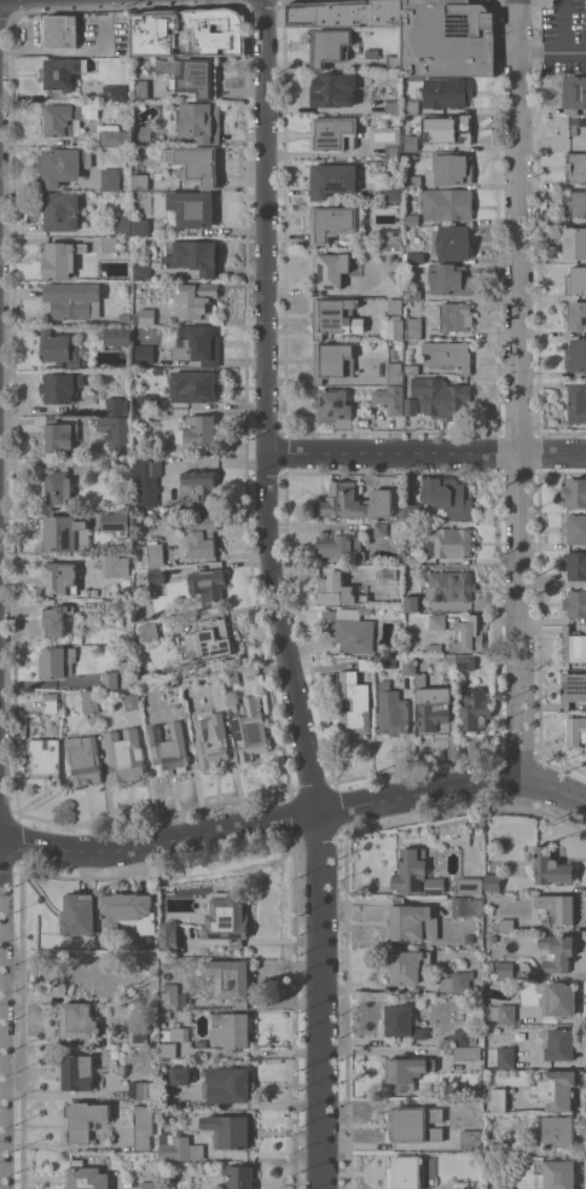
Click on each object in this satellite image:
building: (346, 13)
building: (60, 30)
building: (198, 33)
road: (31, 34)
parking lot: (563, 36)
building: (448, 37)
building: (145, 45)
building: (329, 46)
road: (69, 51)
road: (551, 53)
building: (394, 63)
building: (63, 72)
building: (191, 75)
building: (140, 89)
building: (333, 89)
building: (114, 92)
building: (447, 92)
building: (574, 92)
building: (410, 104)
building: (394, 108)
building: (68, 118)
building: (198, 121)
building: (574, 121)
building: (449, 129)
building: (333, 133)
building: (115, 138)
building: (411, 143)
building: (394, 147)
building: (197, 163)
building: (63, 164)
building: (575, 167)
building: (452, 168)
building: (110, 179)
building: (140, 180)
building: (332, 180)
building: (412, 180)
building: (394, 192)
building: (574, 202)
building: (447, 204)
building: (192, 208)
building: (62, 211)
building: (412, 219)
building: (331, 222)
building: (122, 226)
building: (141, 227)
building: (393, 238)
building: (454, 243)
building: (575, 243)
building: (110, 244)
building: (196, 256)
building: (414, 257)
building: (60, 259)
building: (141, 271)
building: (330, 271)
building: (449, 279)
building: (575, 280)
building: (395, 284)
building: (413, 294)
building: (74, 300)
building: (196, 300)
building: (395, 306)
building: (578, 314)
building: (144, 317)
building: (335, 317)
building: (456, 317)
building: (126, 318)
building: (395, 327)
building: (412, 327)
building: (117, 336)
building: (198, 344)
building: (59, 348)
building: (144, 354)
building: (449, 355)
building: (576, 355)
building: (110, 356)
building: (332, 361)
building: (411, 369)
building: (395, 372)
building: (62, 387)
building: (195, 387)
road: (518, 388)
building: (441, 396)
building: (139, 400)
building: (150, 400)
building: (394, 400)
building: (576, 402)
building: (116, 406)
building: (335, 406)
building: (411, 406)
road: (265, 408)
building: (149, 414)
building: (197, 429)
building: (117, 431)
building: (59, 434)
road: (425, 452)
building: (110, 468)
building: (146, 482)
building: (58, 488)
building: (197, 489)
building: (575, 492)
building: (448, 498)
building: (354, 501)
building: (163, 509)
building: (137, 511)
building: (117, 522)
building: (575, 528)
building: (381, 529)
building: (66, 533)
building: (202, 535)
building: (453, 543)
building: (340, 547)
building: (155, 555)
building: (413, 559)
building: (575, 564)
building: (111, 565)
building: (387, 572)
building: (59, 576)
building: (157, 576)
building: (208, 584)
building: (452, 586)
building: (337, 591)
building: (412, 603)
building: (575, 603)
building: (110, 607)
building: (56, 619)
building: (437, 621)
building: (349, 628)
building: (149, 632)
building: (468, 636)
building: (211, 640)
building: (573, 645)
building: (434, 648)
building: (466, 660)
building: (58, 661)
building: (366, 663)
building: (408, 663)
building: (126, 667)
building: (449, 667)
building: (231, 675)
building: (110, 679)
building: (573, 689)
building: (89, 700)
building: (132, 701)
building: (52, 702)
building: (355, 703)
building: (431, 704)
building: (475, 708)
building: (391, 710)
building: (250, 730)
building: (576, 731)
building: (211, 739)
building: (168, 749)
building: (127, 755)
building: (83, 760)
building: (45, 761)
road: (295, 817)
building: (509, 860)
building: (551, 866)
building: (416, 874)
building: (492, 882)
building: (468, 884)
building: (468, 906)
building: (559, 906)
building: (129, 910)
building: (79, 913)
building: (227, 918)
building: (412, 922)
building: (505, 924)
building: (169, 935)
building: (469, 938)
building: (89, 941)
building: (557, 952)
building: (407, 967)
building: (491, 968)
building: (505, 970)
building: (230, 980)
building: (457, 982)
building: (172, 996)
building: (559, 999)
road: (319, 1000)
building: (501, 1013)
building: (164, 1014)
building: (79, 1022)
building: (404, 1023)
building: (232, 1029)
building: (175, 1033)
building: (138, 1034)
building: (465, 1037)
building: (202, 1044)
building: (561, 1044)
building: (167, 1050)
road: (377, 1050)
building: (466, 1052)
building: (505, 1057)
building: (77, 1072)
building: (406, 1072)
building: (179, 1075)
building: (230, 1085)
building: (141, 1089)
building: (556, 1090)
building: (499, 1100)
building: (86, 1120)
building: (416, 1124)
building: (143, 1126)
building: (228, 1130)
building: (559, 1131)
building: (470, 1138)
building: (179, 1147)
building: (507, 1147)
building: (406, 1172)
building: (555, 1174)
building: (86, 1176)
building: (239, 1176)
building: (149, 1178)
building: (460, 1184)
building: (476, 1185)
building: (166, 1187)
building: (506, 1188)

